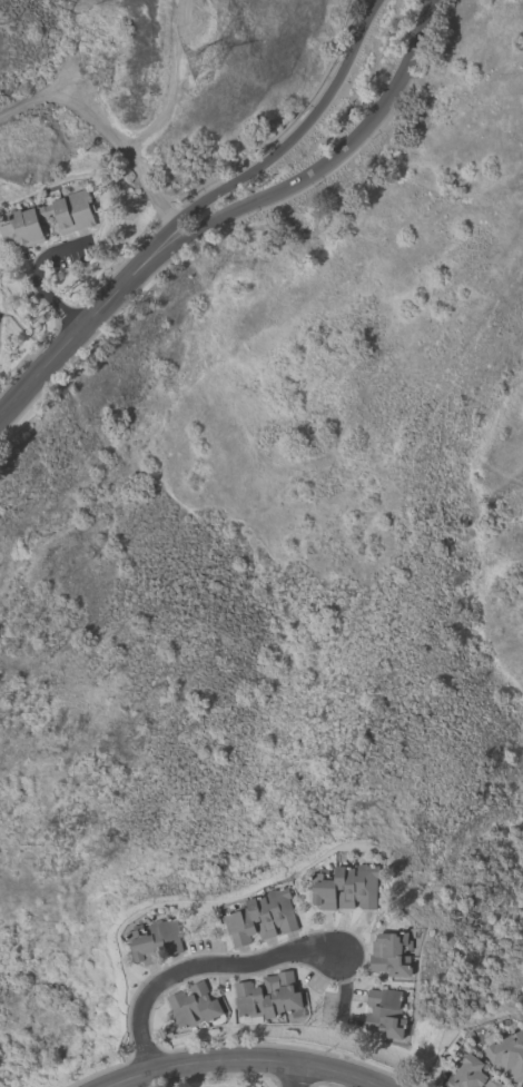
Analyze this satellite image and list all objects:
power tower: (210, 60)
road: (286, 159)
road: (306, 168)
building: (75, 217)
road: (28, 280)
road: (68, 345)
building: (346, 883)
building: (261, 915)
building: (155, 938)
building: (392, 951)
road: (199, 965)
road: (344, 981)
building: (268, 996)
building: (193, 1005)
building: (384, 1011)
building: (509, 1054)
road: (246, 1061)
road: (294, 1074)
building: (473, 1074)

